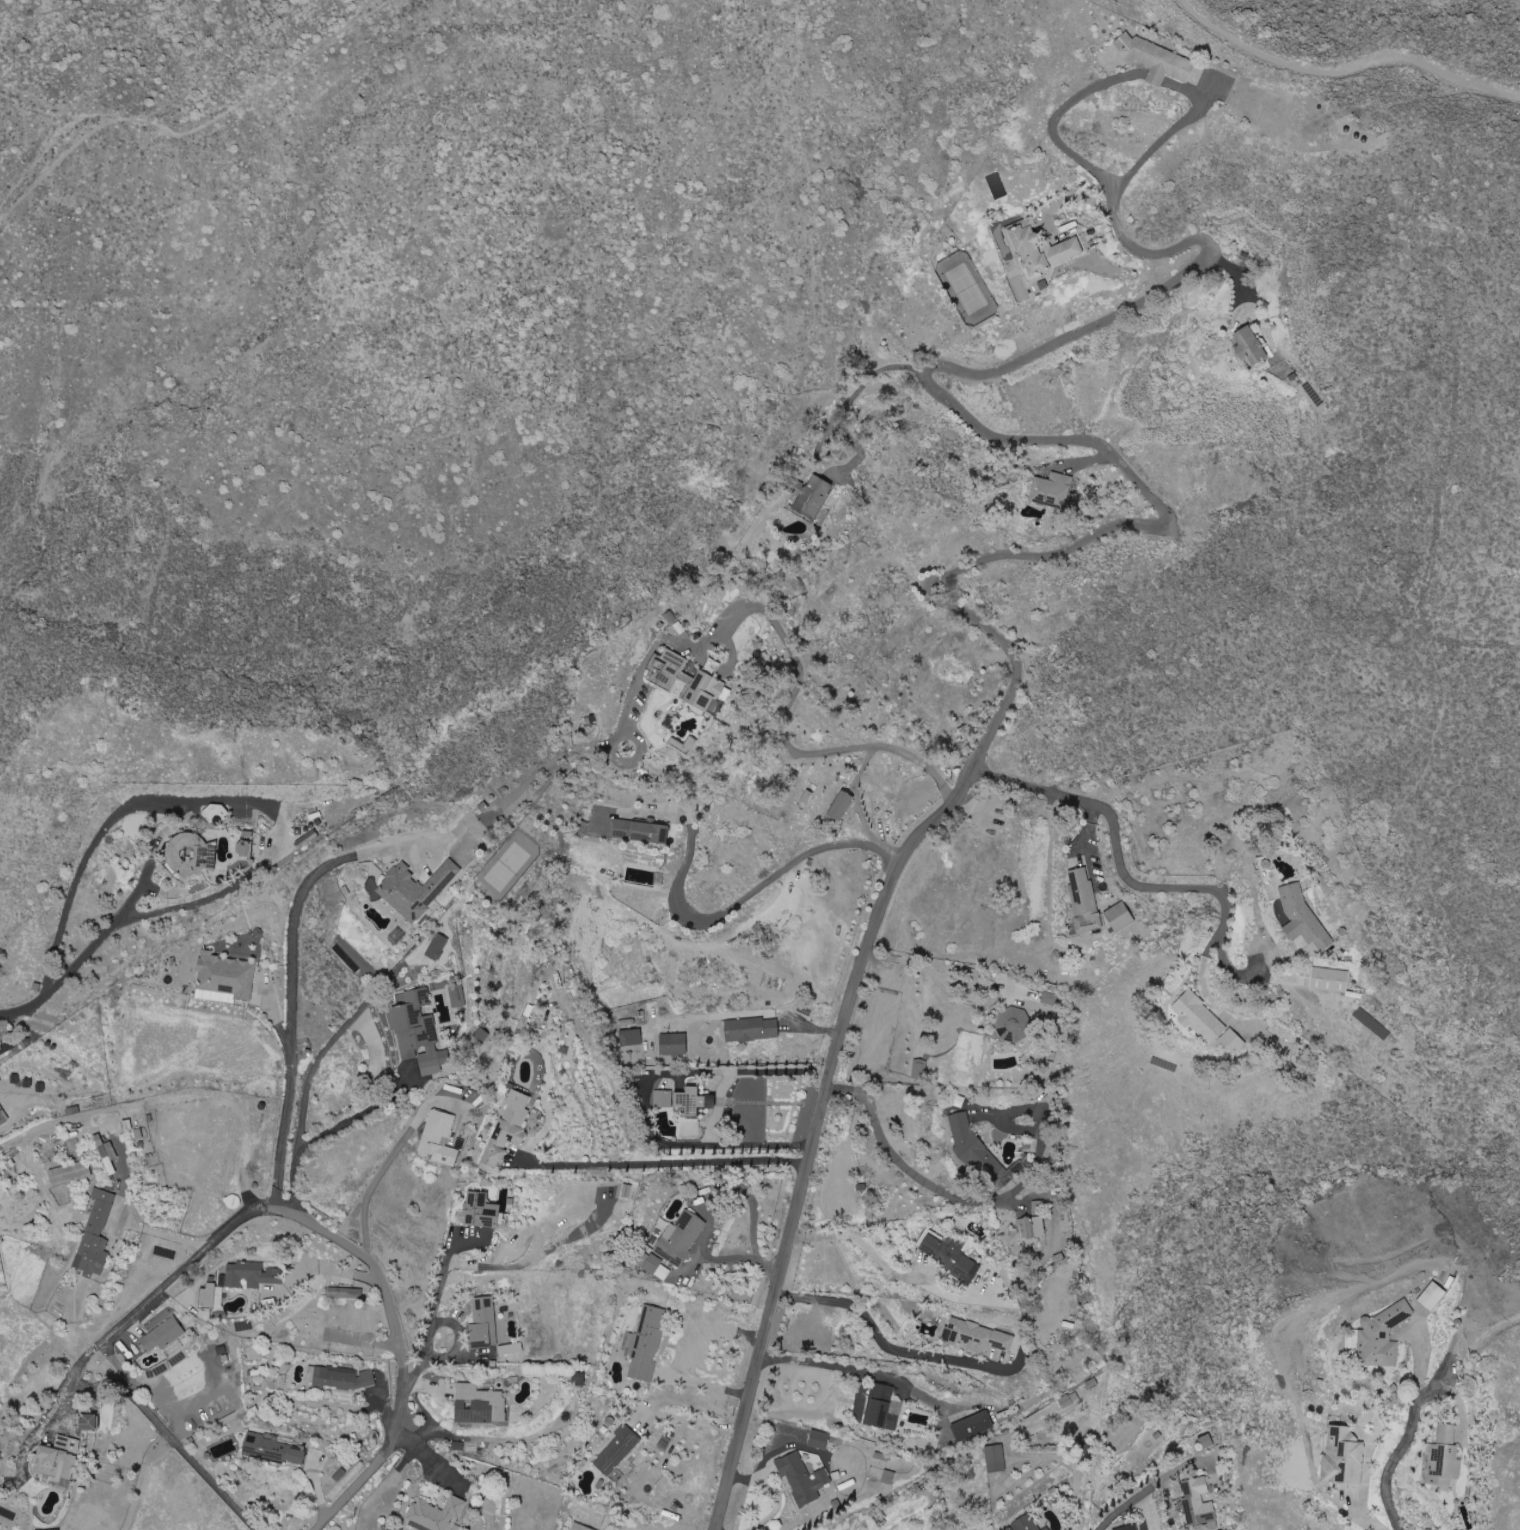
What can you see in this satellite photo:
building: (1154, 59)
road: (1347, 69)
road: (1159, 77)
road: (1065, 113)
road: (1172, 139)
building: (1038, 249)
building: (1248, 348)
road: (862, 384)
building: (1051, 491)
building: (811, 498)
road: (936, 595)
building: (686, 680)
road: (787, 746)
road: (550, 763)
road: (209, 800)
building: (840, 805)
building: (639, 830)
building: (243, 847)
building: (187, 853)
road: (1151, 886)
building: (415, 889)
building: (1083, 899)
road: (723, 913)
building: (1119, 917)
building: (1302, 917)
building: (437, 947)
road: (879, 954)
road: (894, 956)
road: (63, 972)
building: (225, 976)
building: (1330, 980)
road: (1206, 989)
road: (956, 995)
building: (457, 996)
building: (1049, 999)
road: (752, 1012)
road: (292, 1017)
building: (1205, 1022)
building: (751, 1029)
building: (417, 1033)
building: (482, 1035)
building: (628, 1042)
building: (672, 1044)
building: (919, 1069)
road: (301, 1089)
building: (663, 1098)
building: (692, 1101)
building: (2, 1116)
building: (507, 1128)
building: (438, 1138)
building: (972, 1145)
road: (666, 1163)
building: (69, 1173)
road: (374, 1184)
building: (627, 1190)
road: (277, 1193)
road: (981, 1200)
building: (233, 1201)
road: (709, 1205)
building: (480, 1210)
building: (1033, 1222)
building: (95, 1234)
road: (159, 1234)
building: (680, 1238)
building: (950, 1256)
road: (890, 1267)
building: (657, 1268)
building: (251, 1275)
building: (344, 1293)
building: (1432, 1296)
building: (212, 1297)
road: (437, 1307)
road: (126, 1319)
building: (483, 1321)
building: (162, 1335)
road: (398, 1335)
road: (881, 1335)
building: (1381, 1336)
building: (976, 1337)
building: (645, 1344)
road: (830, 1364)
building: (340, 1378)
road: (706, 1384)
building: (1068, 1400)
building: (479, 1404)
building: (882, 1407)
road: (695, 1419)
building: (87, 1422)
building: (972, 1426)
road: (171, 1437)
building: (819, 1439)
building: (274, 1451)
building: (617, 1451)
building: (881, 1456)
building: (1342, 1457)
building: (1445, 1457)
building: (995, 1458)
building: (57, 1459)
road: (1393, 1462)
building: (888, 1477)
building: (802, 1479)
road: (1140, 1494)
building: (1199, 1504)
building: (434, 1514)
building: (1024, 1523)
building: (579, 1527)
building: (1046, 1528)
building: (1128, 1528)

